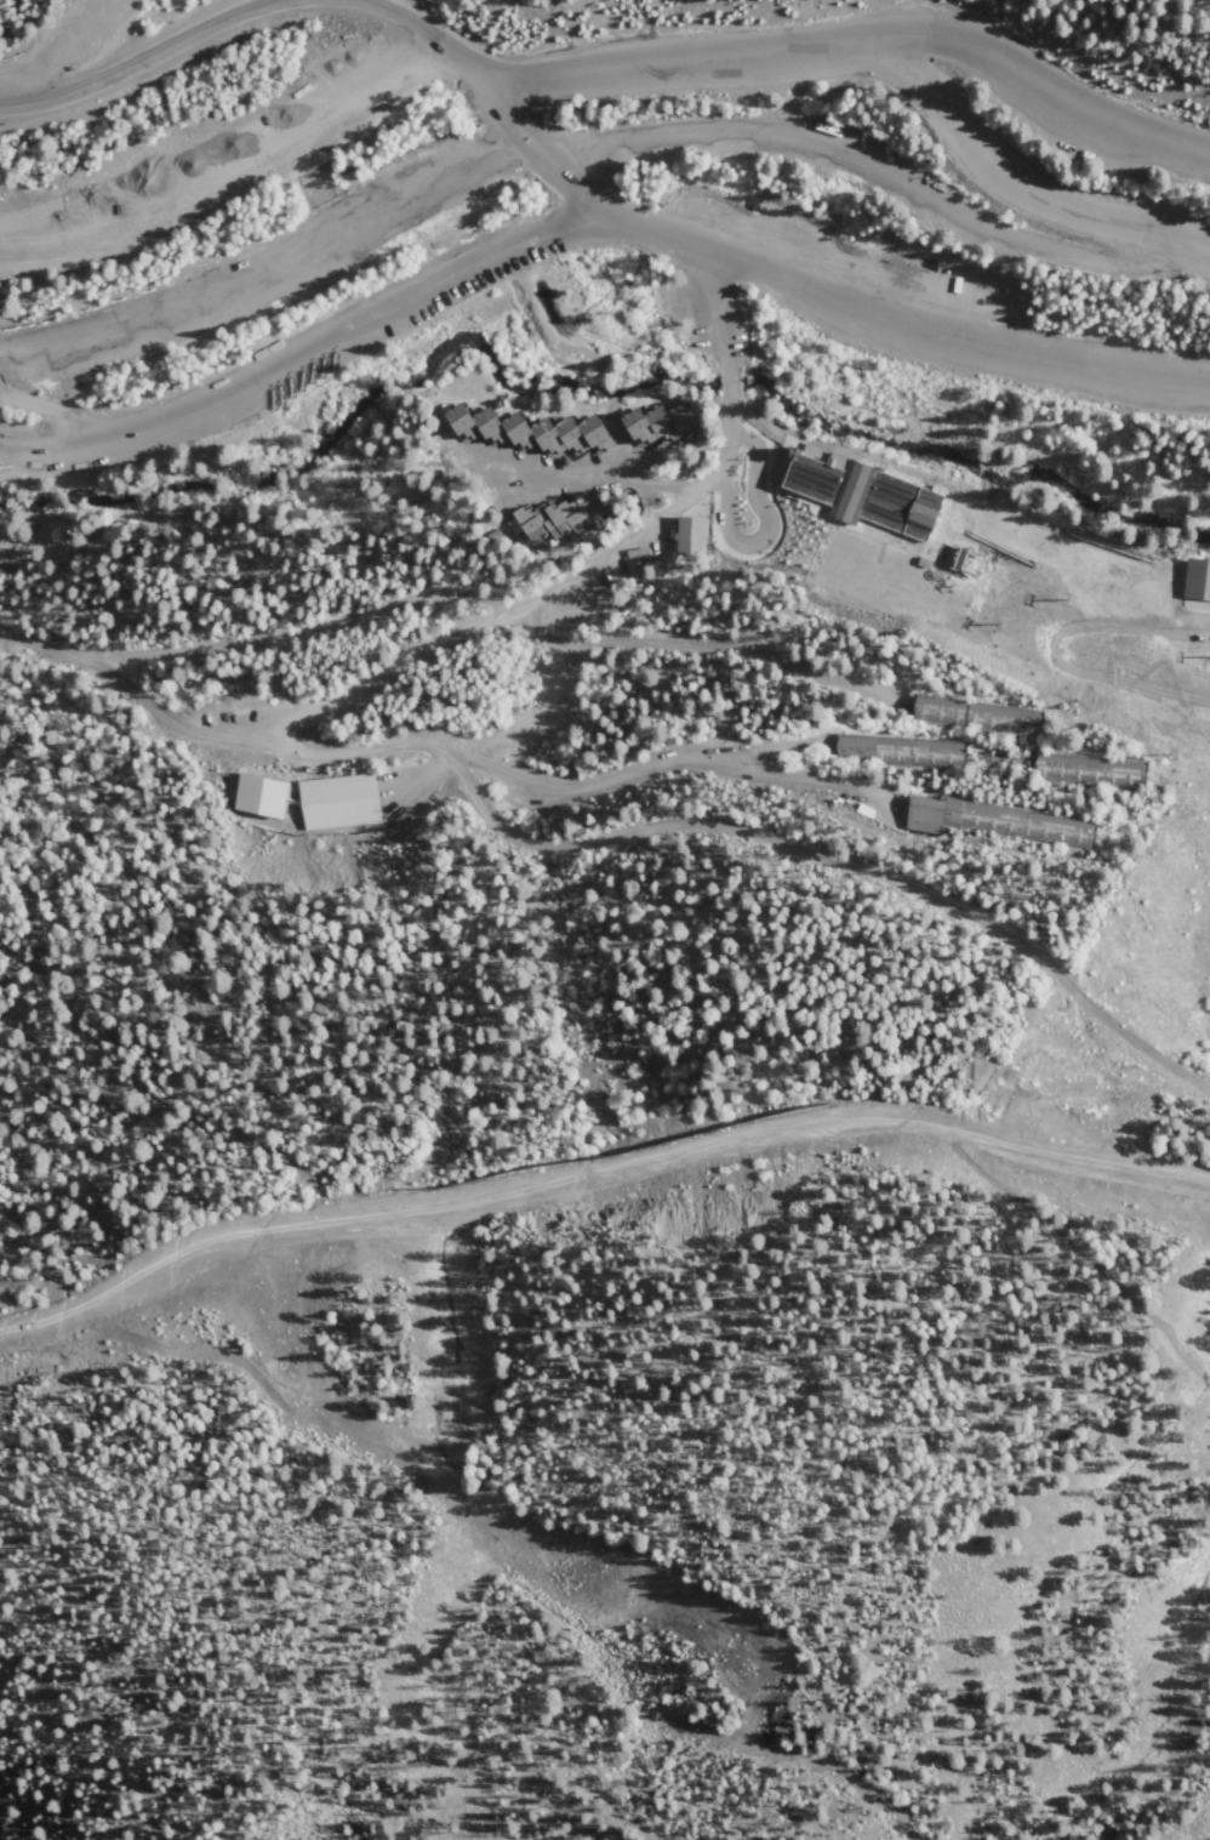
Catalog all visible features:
road: (861, 42)
road: (138, 61)
road: (487, 89)
parking lot: (1054, 98)
parking lot: (982, 152)
parking lot: (228, 160)
road: (871, 170)
road: (1016, 183)
parking lot: (923, 196)
parking lot: (262, 262)
parking lot: (926, 319)
road: (898, 321)
parking lot: (304, 349)
road: (310, 357)
road: (760, 389)
road: (70, 411)
road: (966, 411)
building: (655, 427)
building: (529, 432)
road: (603, 471)
building: (862, 491)
building: (558, 518)
road: (769, 530)
building: (691, 532)
building: (639, 552)
building: (964, 557)
building: (1197, 581)
aerialway pylon: (1074, 602)
aerialway pylon: (1004, 623)
road: (304, 628)
road: (706, 645)
road: (1049, 646)
road: (152, 701)
road: (1209, 706)
building: (976, 717)
road: (332, 752)
building: (901, 752)
aerialway pylon: (1177, 759)
road: (646, 768)
building: (1090, 771)
building: (261, 797)
building: (339, 803)
building: (995, 821)
road: (1128, 838)
road: (1124, 1038)
road: (1209, 1096)
road: (597, 1175)
road: (1066, 1260)
road: (474, 1343)
ski resort: (689, 1362)
road: (463, 1659)

